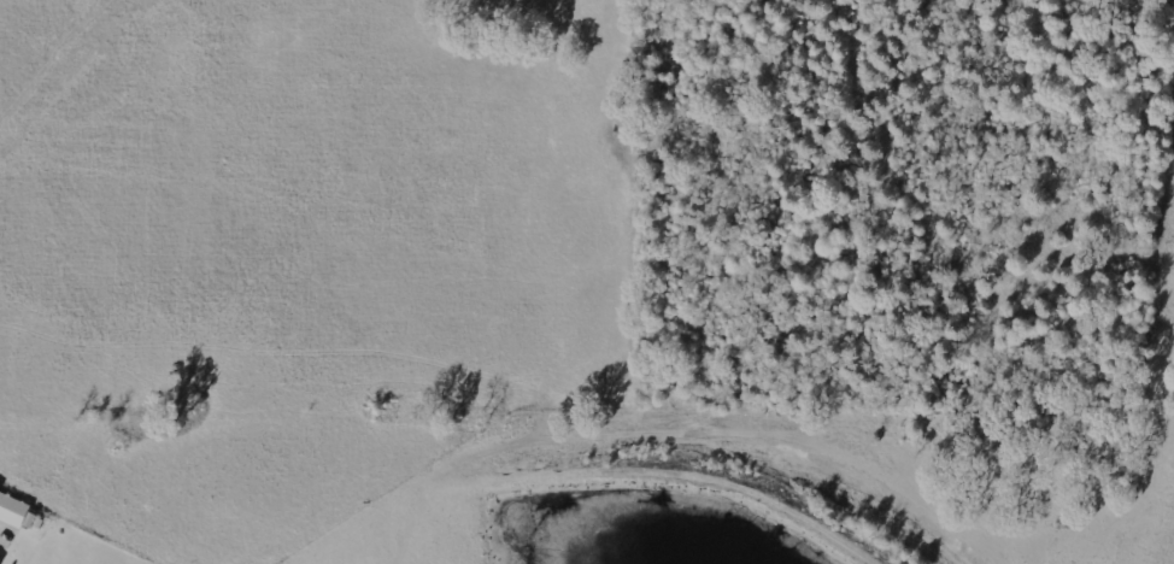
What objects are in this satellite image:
building: (20, 513)

